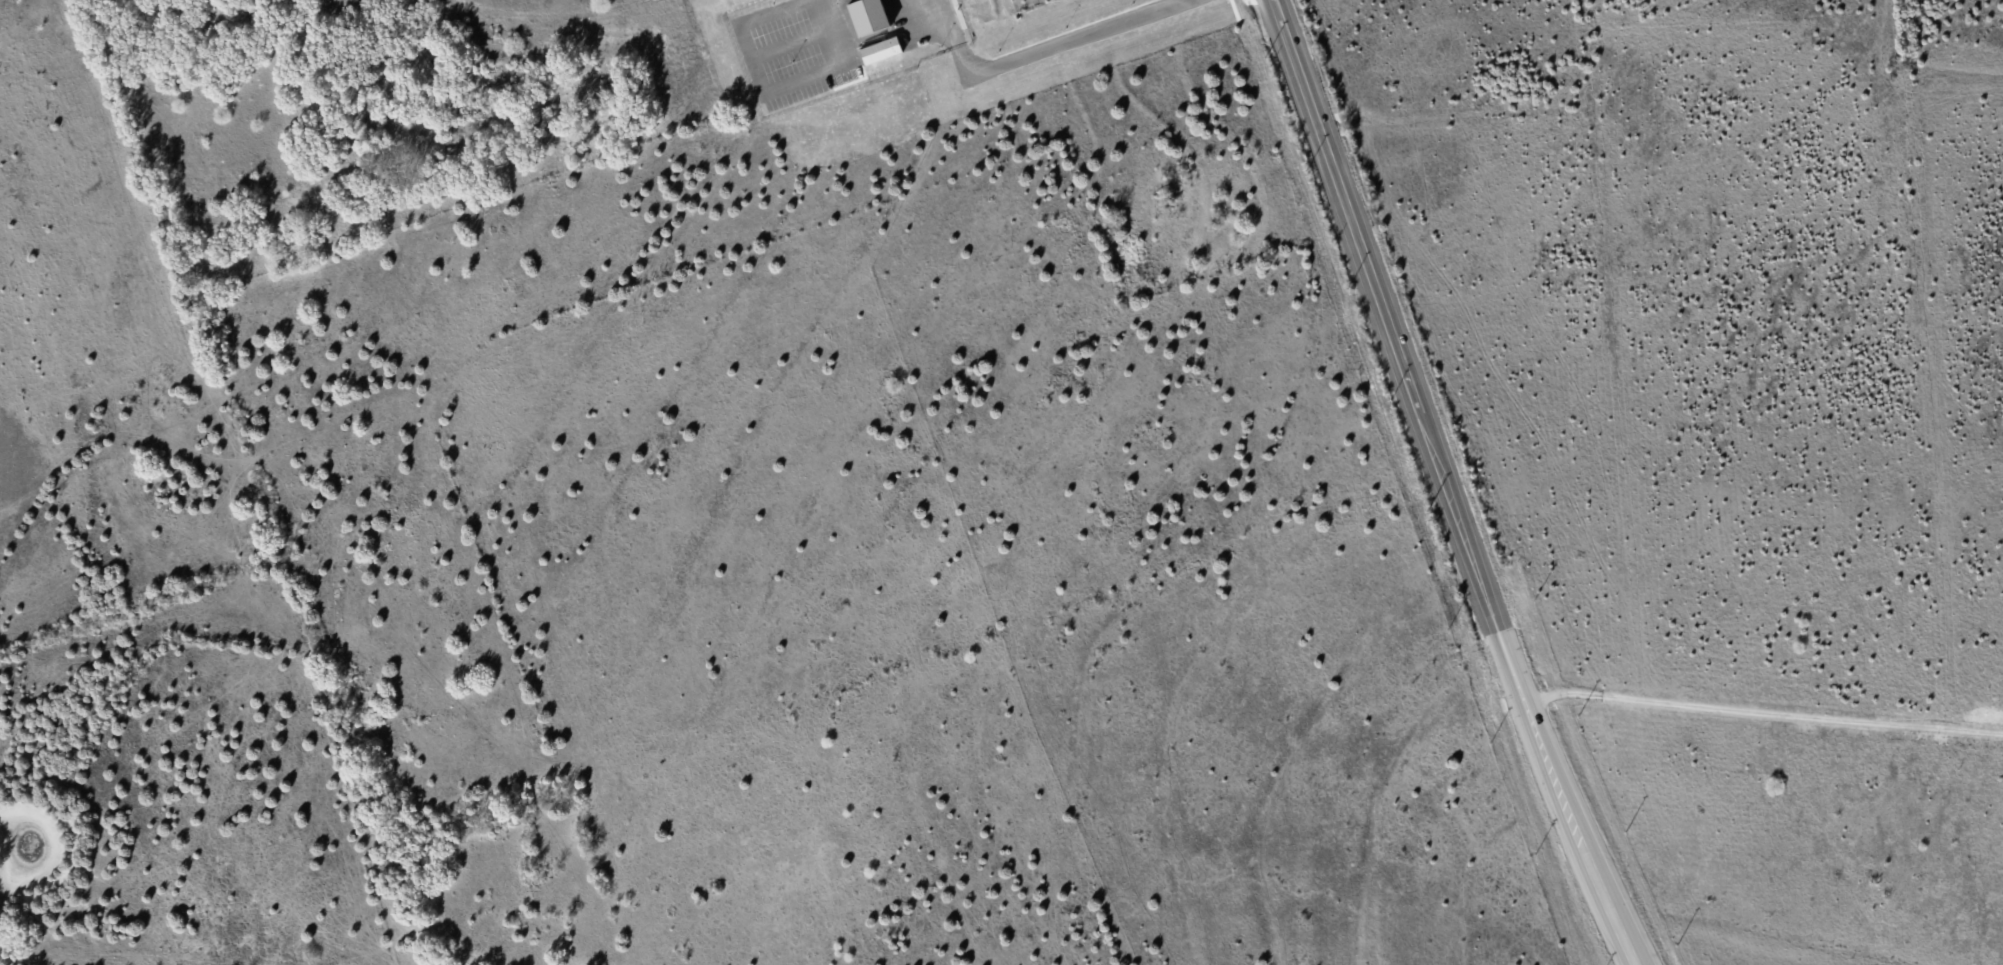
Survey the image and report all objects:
building: (868, 16)
road: (1037, 49)
building: (880, 50)
road: (775, 90)
road: (1450, 484)
road: (1765, 711)

